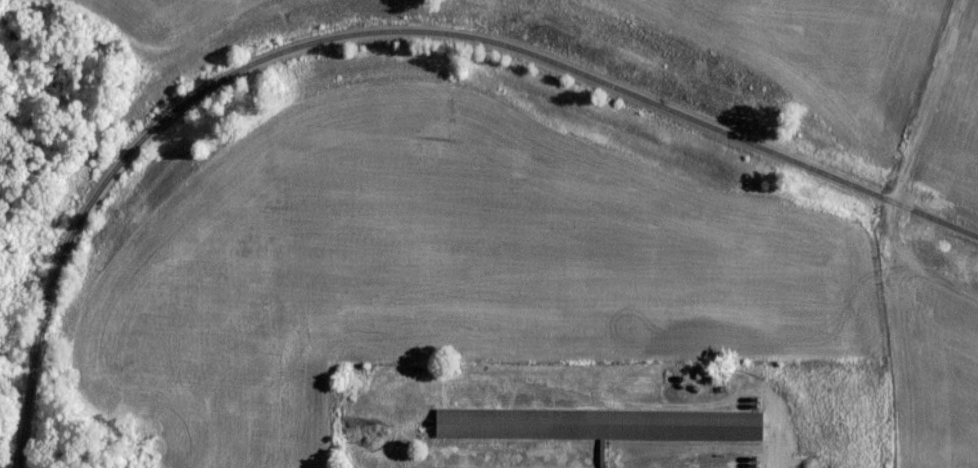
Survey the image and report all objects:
railway: (385, 35)
building: (596, 428)
road: (774, 435)
building: (614, 459)

